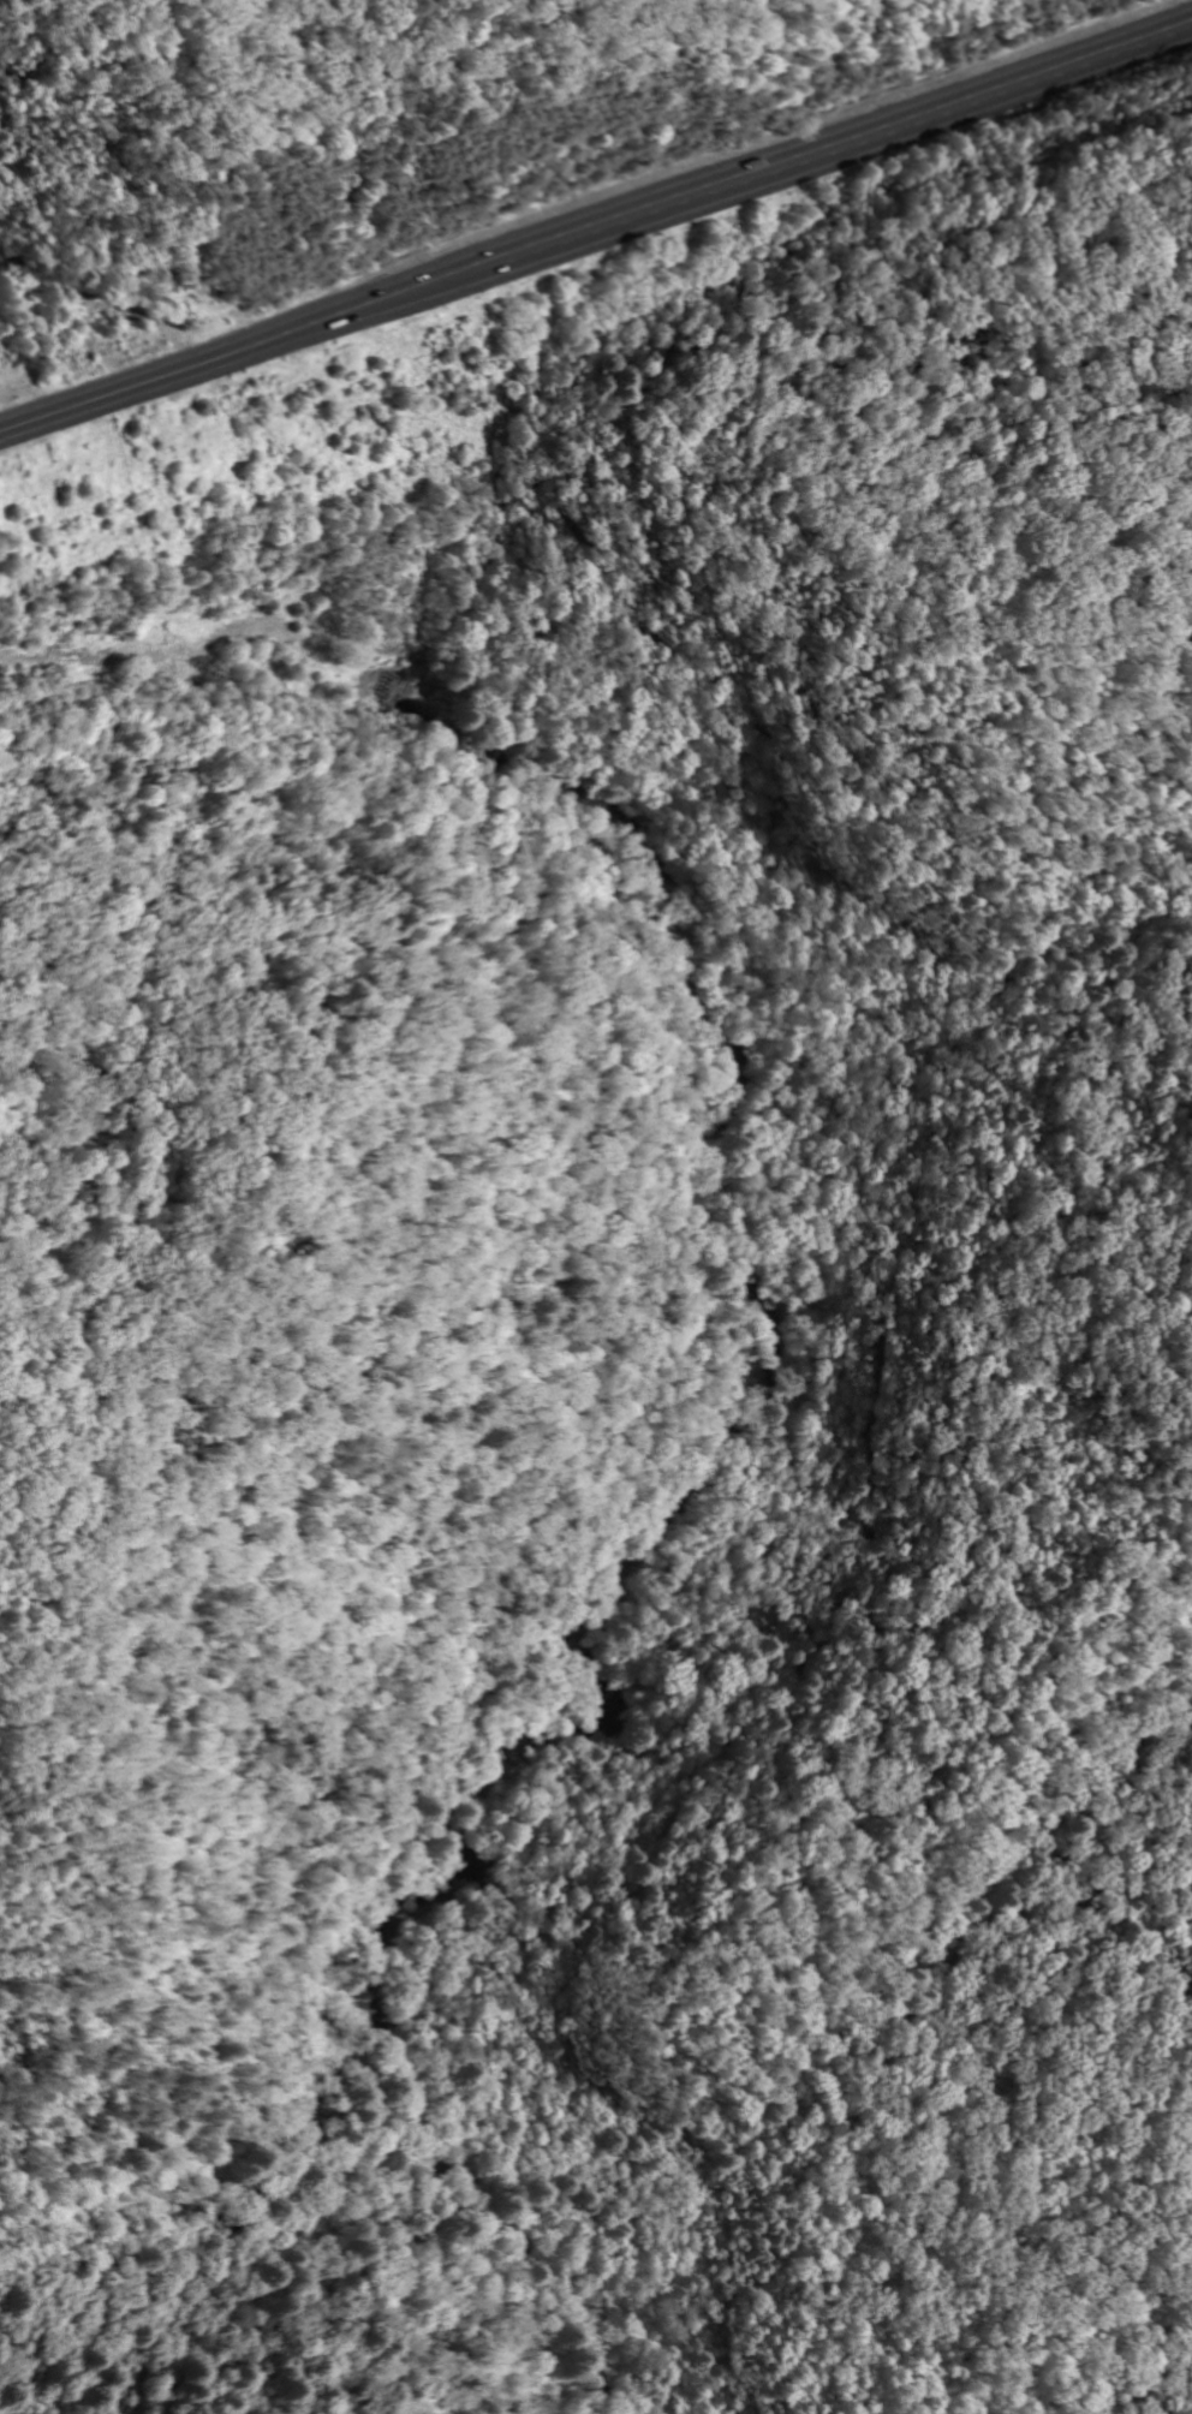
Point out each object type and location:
road: (595, 228)

